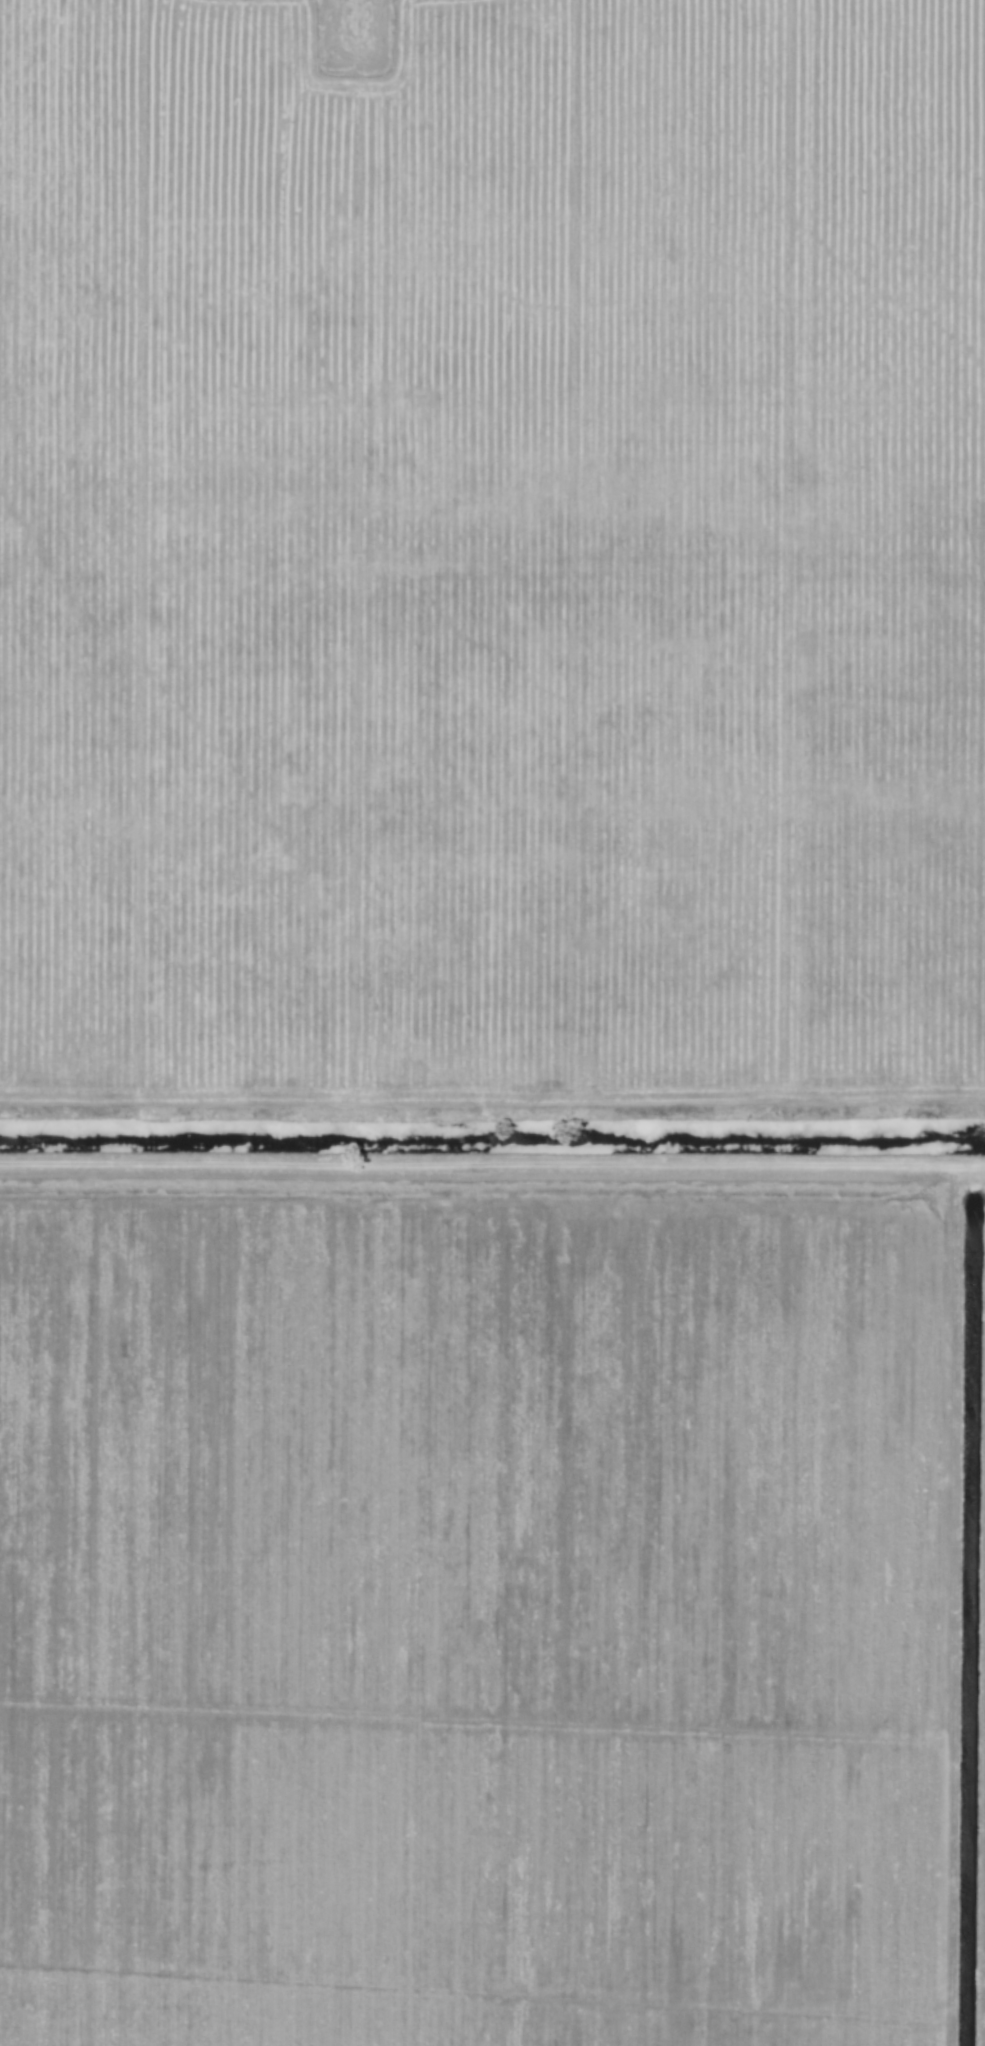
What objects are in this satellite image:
crop: (491, 1615)

